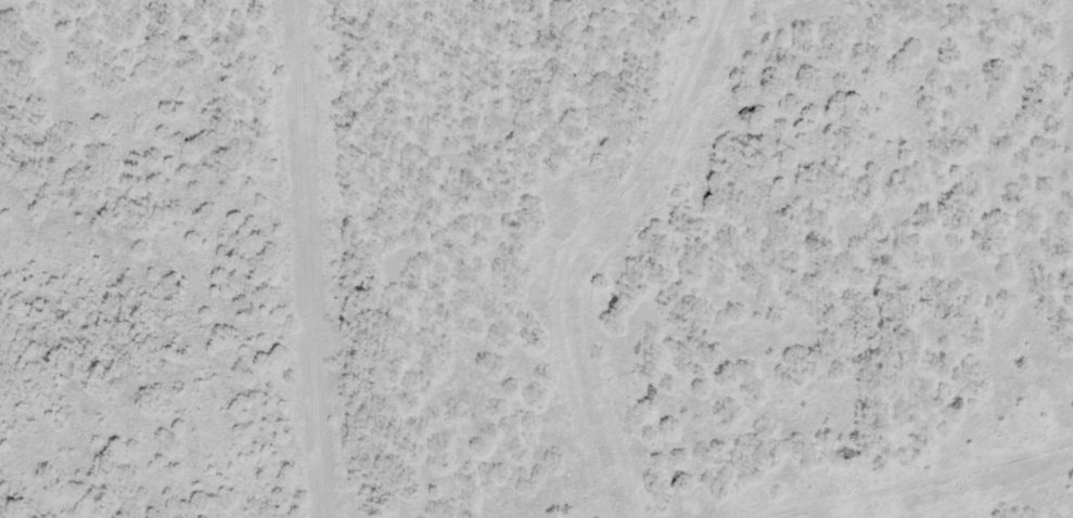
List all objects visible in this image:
road: (268, 258)

